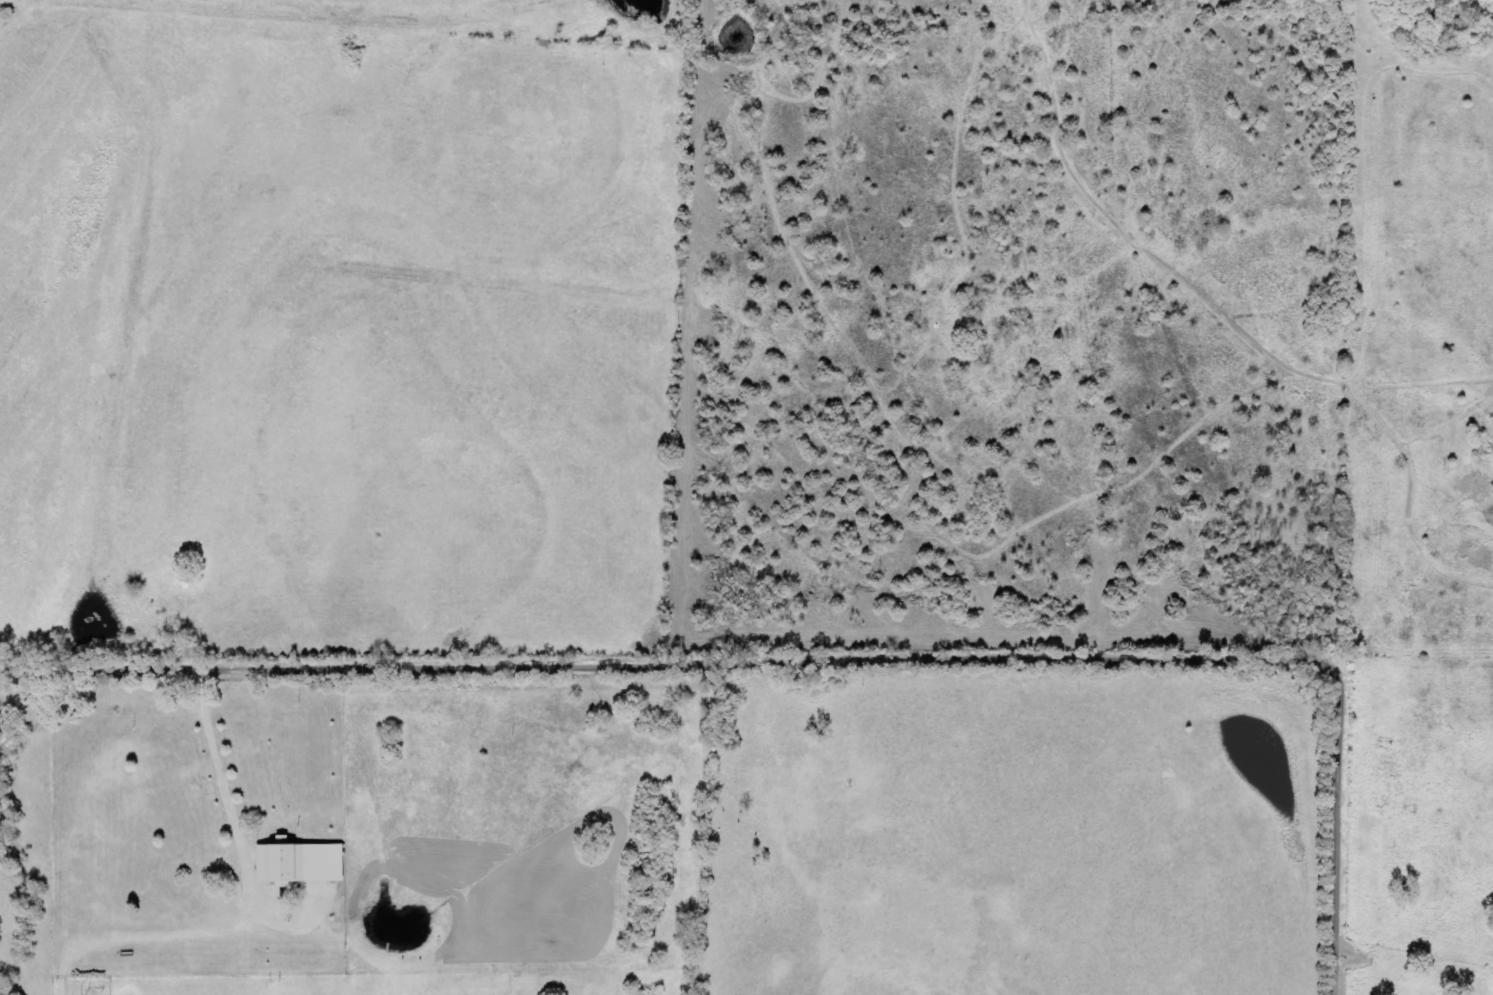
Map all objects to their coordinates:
road: (816, 668)
building: (307, 863)

